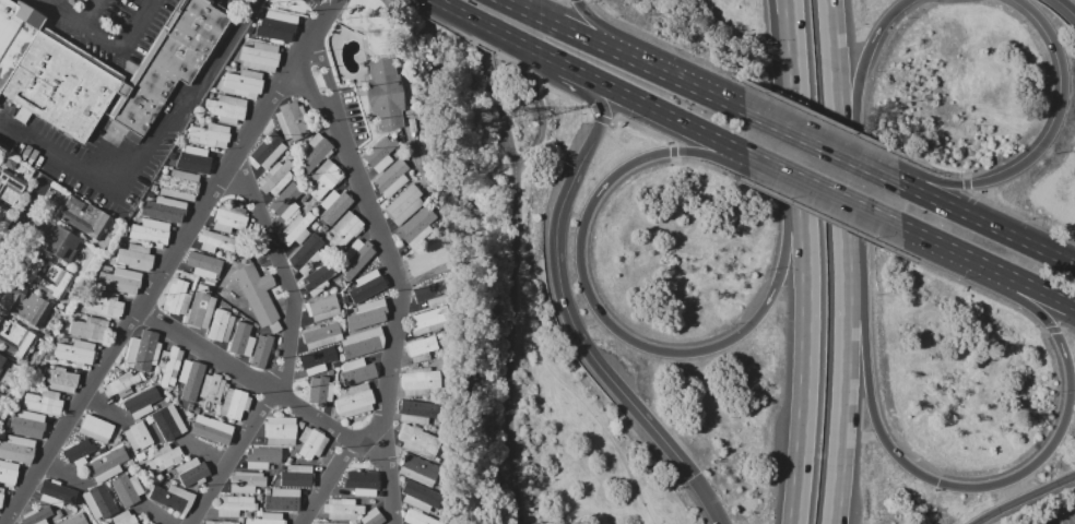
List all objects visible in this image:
road: (250, 1)
parking lot: (226, 3)
road: (319, 4)
road: (1070, 4)
road: (448, 5)
building: (270, 11)
road: (96, 13)
road: (414, 13)
parking lot: (107, 25)
building: (280, 27)
building: (15, 35)
road: (510, 36)
road: (104, 37)
road: (788, 39)
road: (793, 39)
road: (594, 41)
road: (629, 44)
building: (260, 57)
road: (500, 63)
building: (234, 64)
building: (227, 68)
building: (233, 69)
road: (578, 69)
road: (326, 70)
building: (114, 74)
building: (243, 83)
road: (859, 86)
road: (306, 91)
building: (385, 93)
building: (211, 95)
road: (843, 95)
road: (713, 96)
road: (599, 98)
building: (226, 108)
road: (541, 110)
road: (670, 114)
power tower: (531, 115)
power tower: (486, 116)
road: (801, 118)
building: (292, 120)
building: (210, 135)
road: (593, 140)
road: (1046, 141)
road: (820, 146)
road: (145, 150)
building: (268, 151)
building: (315, 152)
building: (382, 153)
building: (287, 154)
building: (295, 156)
building: (196, 159)
building: (169, 164)
building: (276, 177)
building: (392, 177)
building: (323, 179)
building: (179, 184)
building: (10, 187)
building: (153, 188)
road: (823, 188)
building: (304, 196)
building: (286, 203)
building: (335, 203)
building: (404, 203)
building: (314, 205)
building: (167, 209)
building: (2, 210)
building: (84, 218)
building: (228, 218)
road: (19, 221)
building: (315, 223)
road: (985, 223)
building: (416, 227)
building: (296, 229)
building: (344, 229)
building: (317, 231)
building: (150, 233)
building: (215, 241)
road: (942, 243)
building: (66, 246)
building: (306, 253)
building: (357, 255)
building: (135, 257)
road: (167, 261)
building: (426, 261)
building: (202, 264)
road: (281, 273)
building: (48, 277)
building: (319, 278)
building: (122, 281)
building: (209, 282)
building: (367, 284)
road: (1030, 284)
road: (515, 288)
building: (257, 293)
building: (430, 294)
building: (178, 297)
building: (345, 301)
building: (27, 306)
building: (104, 306)
building: (200, 308)
building: (322, 308)
road: (397, 308)
building: (342, 311)
building: (234, 312)
building: (367, 313)
building: (76, 315)
building: (428, 321)
building: (221, 325)
building: (255, 325)
building: (274, 326)
building: (90, 329)
road: (586, 330)
building: (47, 333)
building: (321, 335)
road: (625, 335)
building: (14, 338)
building: (58, 338)
building: (63, 340)
building: (241, 340)
road: (811, 341)
building: (363, 343)
road: (204, 348)
building: (421, 348)
building: (143, 350)
building: (261, 350)
building: (75, 352)
road: (850, 358)
building: (1, 359)
building: (317, 360)
building: (43, 362)
building: (48, 362)
building: (169, 364)
building: (338, 365)
building: (0, 369)
building: (357, 371)
building: (190, 377)
building: (59, 379)
building: (418, 381)
building: (121, 385)
building: (32, 389)
building: (138, 389)
building: (211, 390)
building: (319, 391)
building: (353, 400)
road: (99, 402)
building: (142, 402)
building: (43, 403)
building: (175, 403)
building: (235, 404)
building: (155, 406)
building: (416, 412)
building: (189, 413)
road: (312, 416)
building: (168, 421)
building: (31, 425)
building: (300, 425)
building: (95, 428)
building: (280, 430)
building: (210, 431)
building: (1, 434)
building: (138, 436)
road: (367, 437)
building: (119, 438)
building: (311, 442)
building: (418, 442)
building: (127, 444)
building: (95, 448)
building: (16, 449)
road: (205, 451)
building: (78, 453)
road: (229, 457)
building: (262, 457)
building: (162, 458)
building: (288, 460)
building: (107, 464)
building: (284, 466)
road: (59, 467)
building: (271, 467)
building: (417, 469)
traffic signals: (700, 471)
building: (192, 472)
building: (8, 473)
building: (165, 476)
building: (297, 476)
building: (161, 479)
building: (246, 481)
building: (361, 481)
building: (174, 483)
road: (328, 483)
road: (952, 486)
building: (127, 489)
building: (257, 491)
building: (268, 491)
building: (56, 493)
building: (1, 496)
building: (421, 497)
road: (717, 497)
building: (172, 498)
building: (282, 500)
road: (1026, 500)
building: (98, 502)
building: (234, 504)
building: (66, 508)
building: (71, 509)
building: (342, 509)
building: (58, 513)
building: (258, 513)
building: (36, 515)
road: (157, 515)
building: (373, 516)
building: (125, 517)
building: (417, 517)
building: (90, 519)
building: (268, 519)
building: (74, 520)
building: (240, 520)
building: (98, 521)
building: (221, 522)
building: (357, 522)
building: (152, 523)
building: (154, 523)
building: (324, 523)

